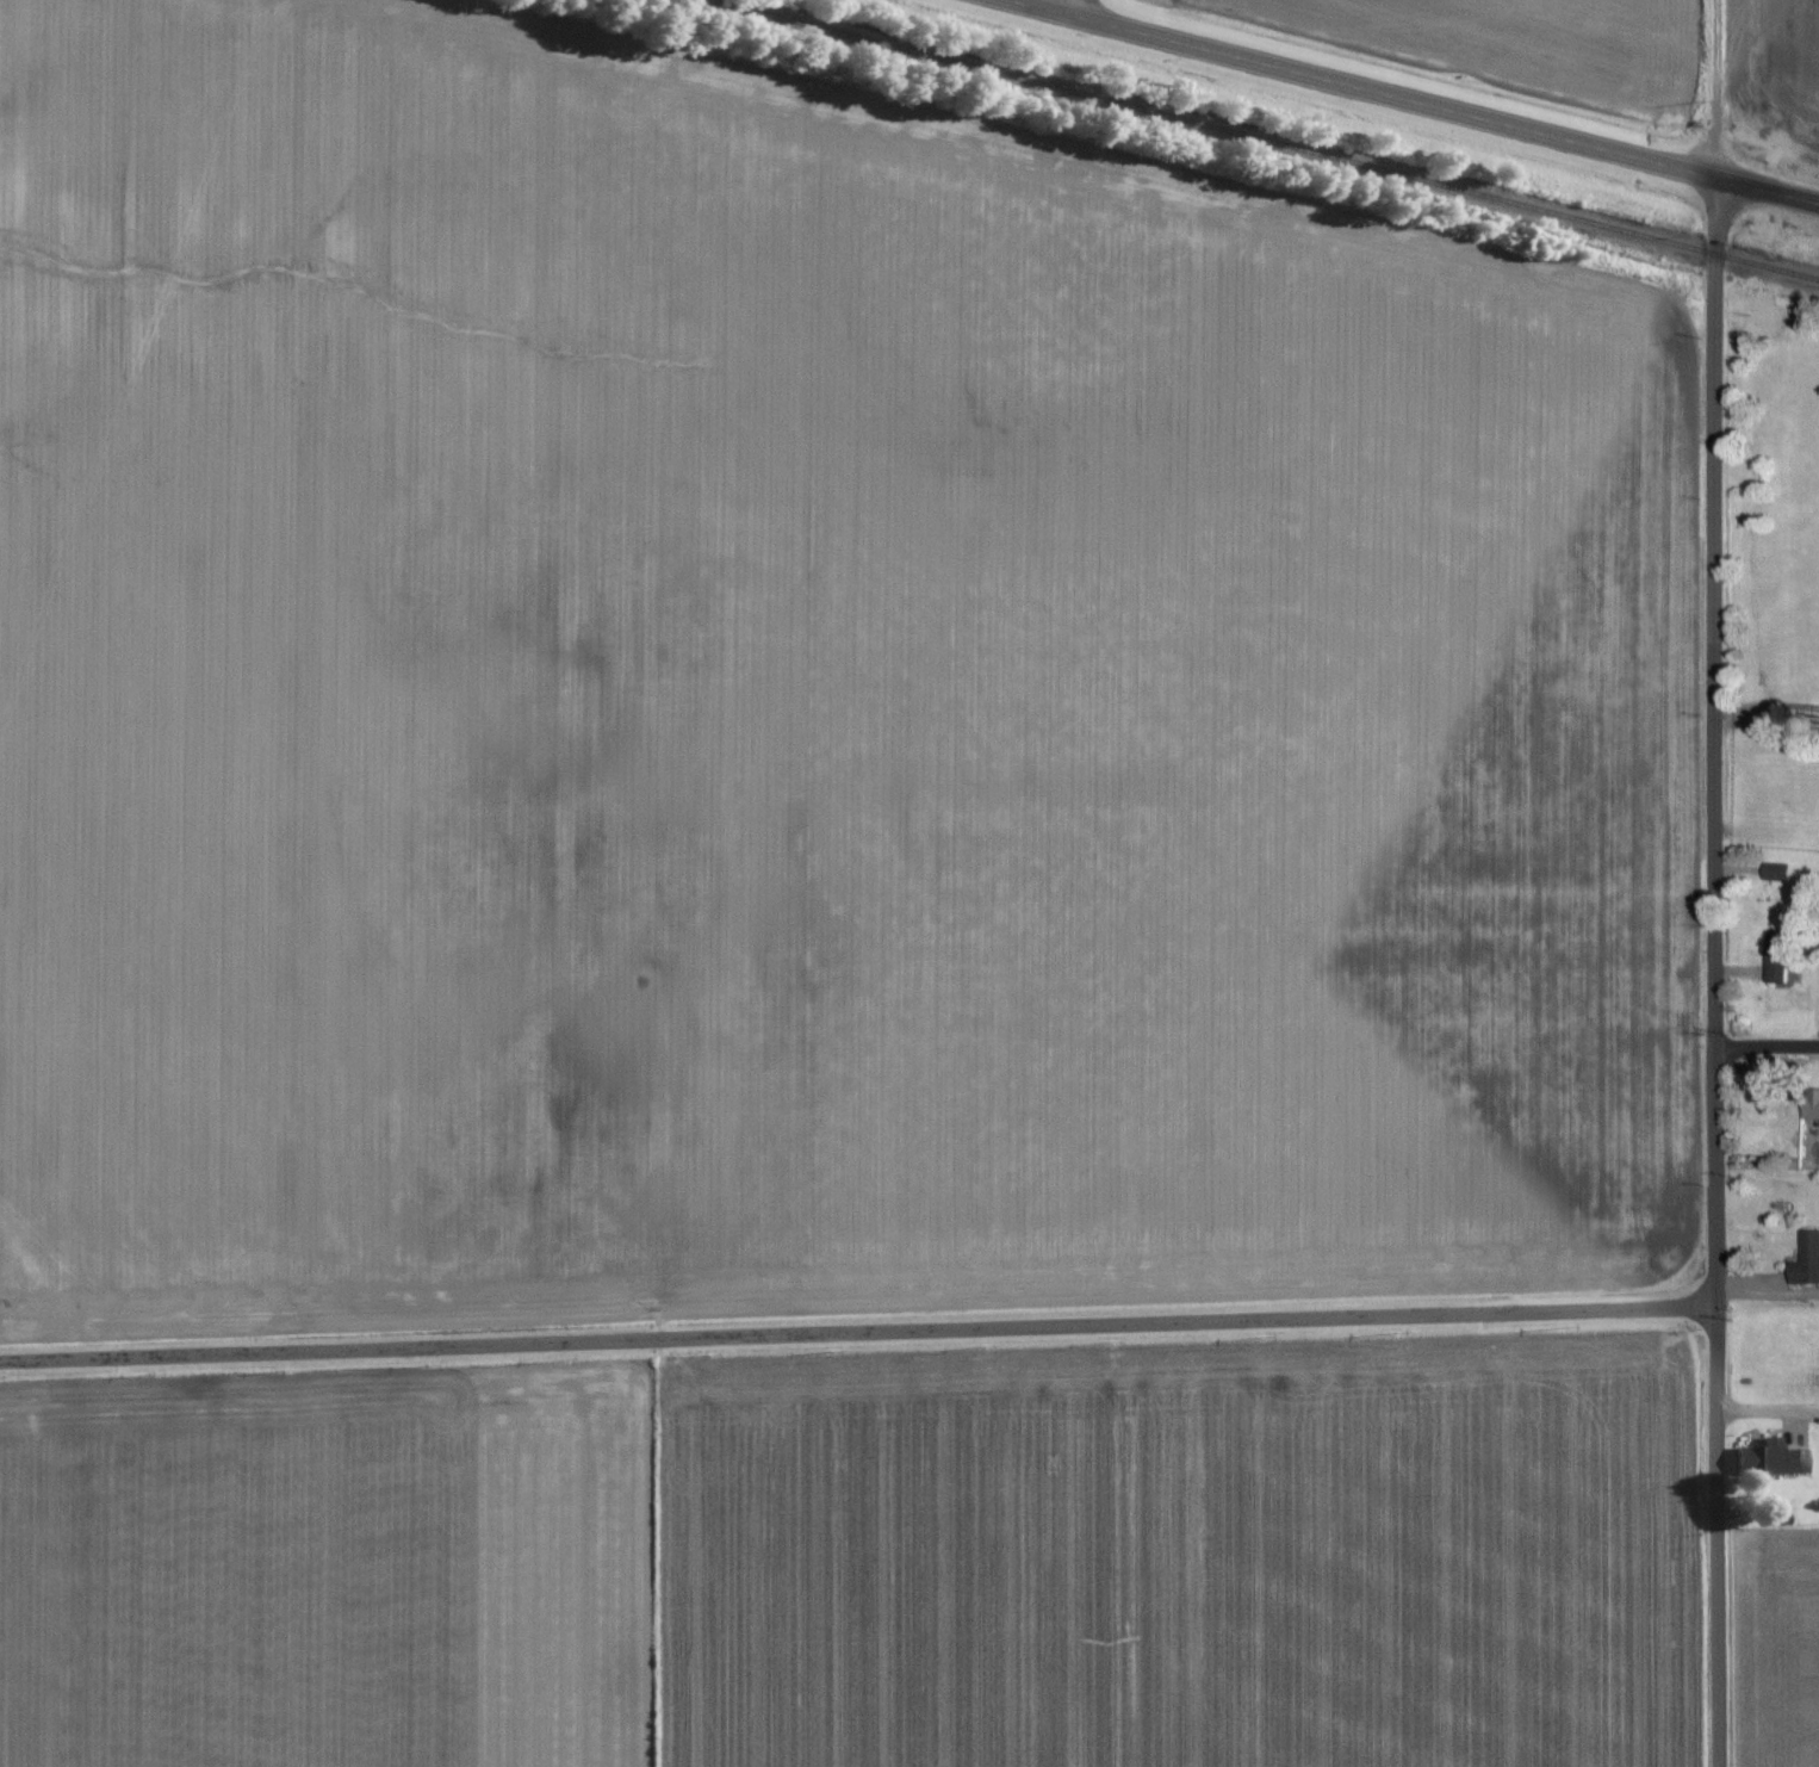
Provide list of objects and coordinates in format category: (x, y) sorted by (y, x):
road: (1066, 10)
road: (1401, 104)
railway: (1256, 141)
building: (1755, 790)
building: (1770, 872)
building: (1770, 956)
road: (1708, 973)
road: (1764, 1044)
building: (1807, 1106)
building: (1802, 1259)
road: (856, 1333)
road: (1765, 1415)
building: (1762, 1456)

